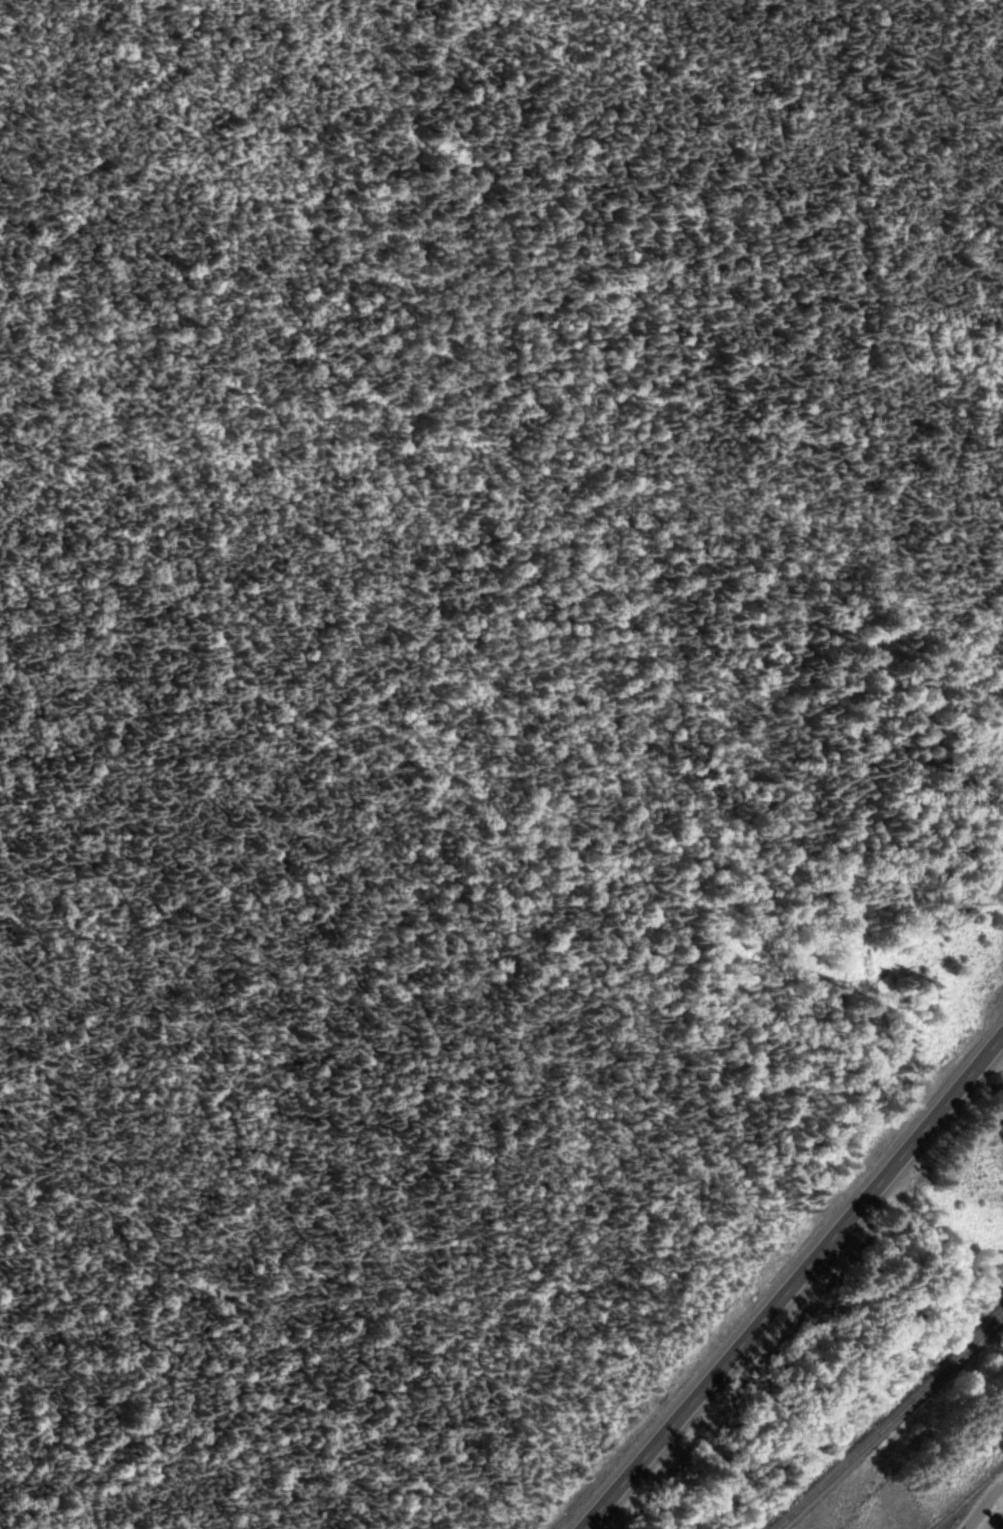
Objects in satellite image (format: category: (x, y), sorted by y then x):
road: (792, 1285)
railway: (891, 1422)
road: (981, 1513)

